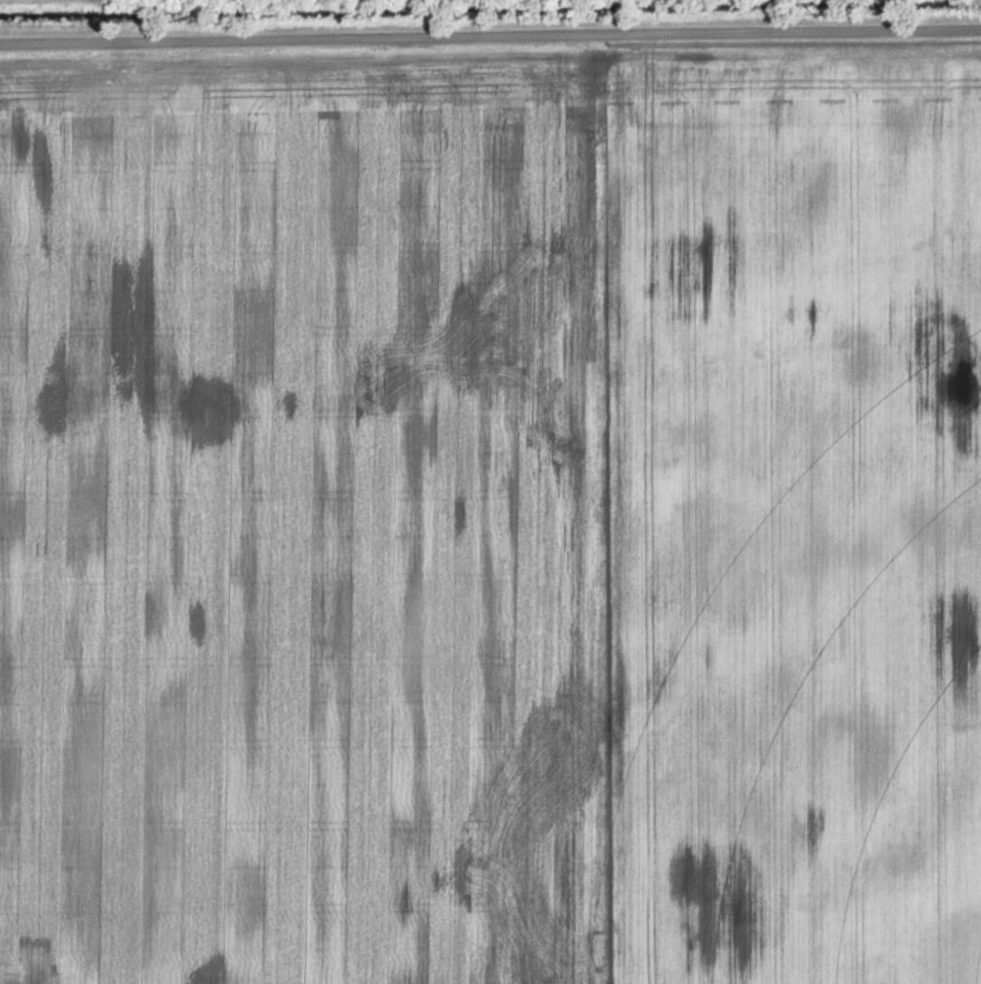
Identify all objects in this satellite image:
road: (490, 36)

